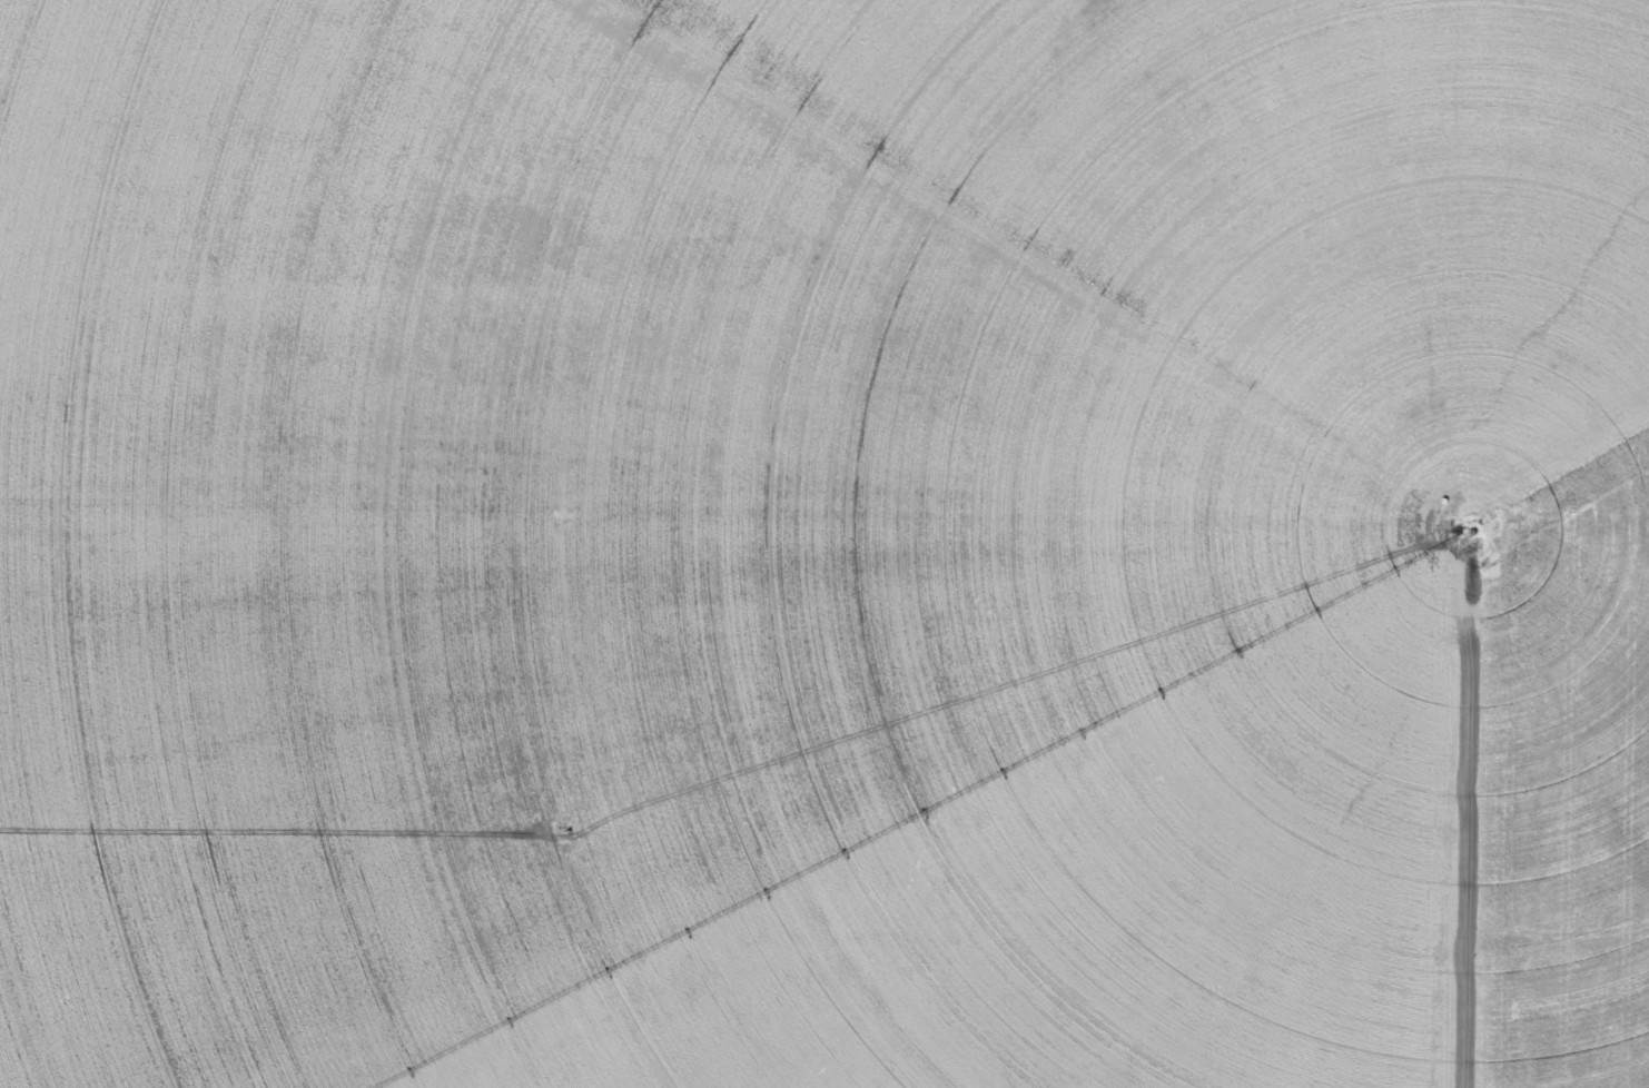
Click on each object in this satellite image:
crop: (824, 544)

